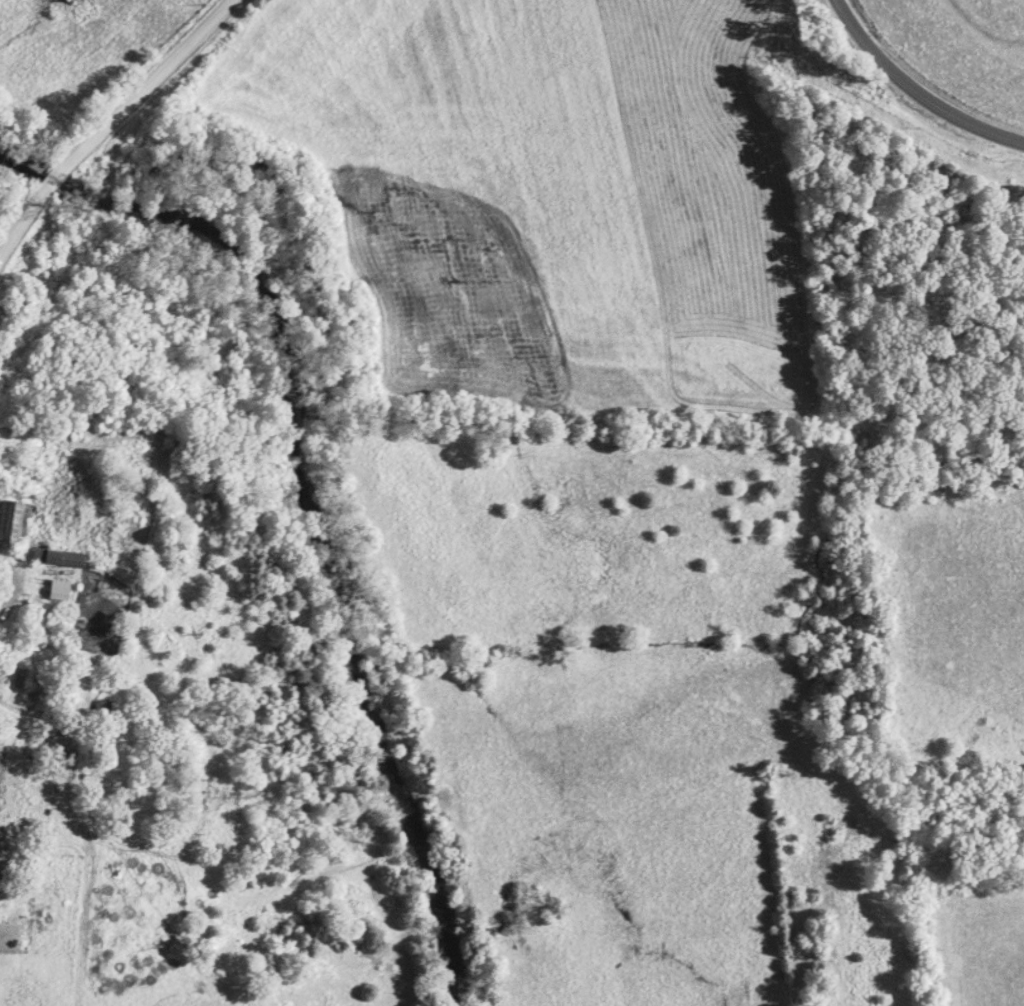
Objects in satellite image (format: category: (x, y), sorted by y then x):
road: (912, 92)
road: (110, 118)
building: (18, 523)
building: (58, 559)
road: (10, 583)
building: (59, 591)
road: (31, 858)

